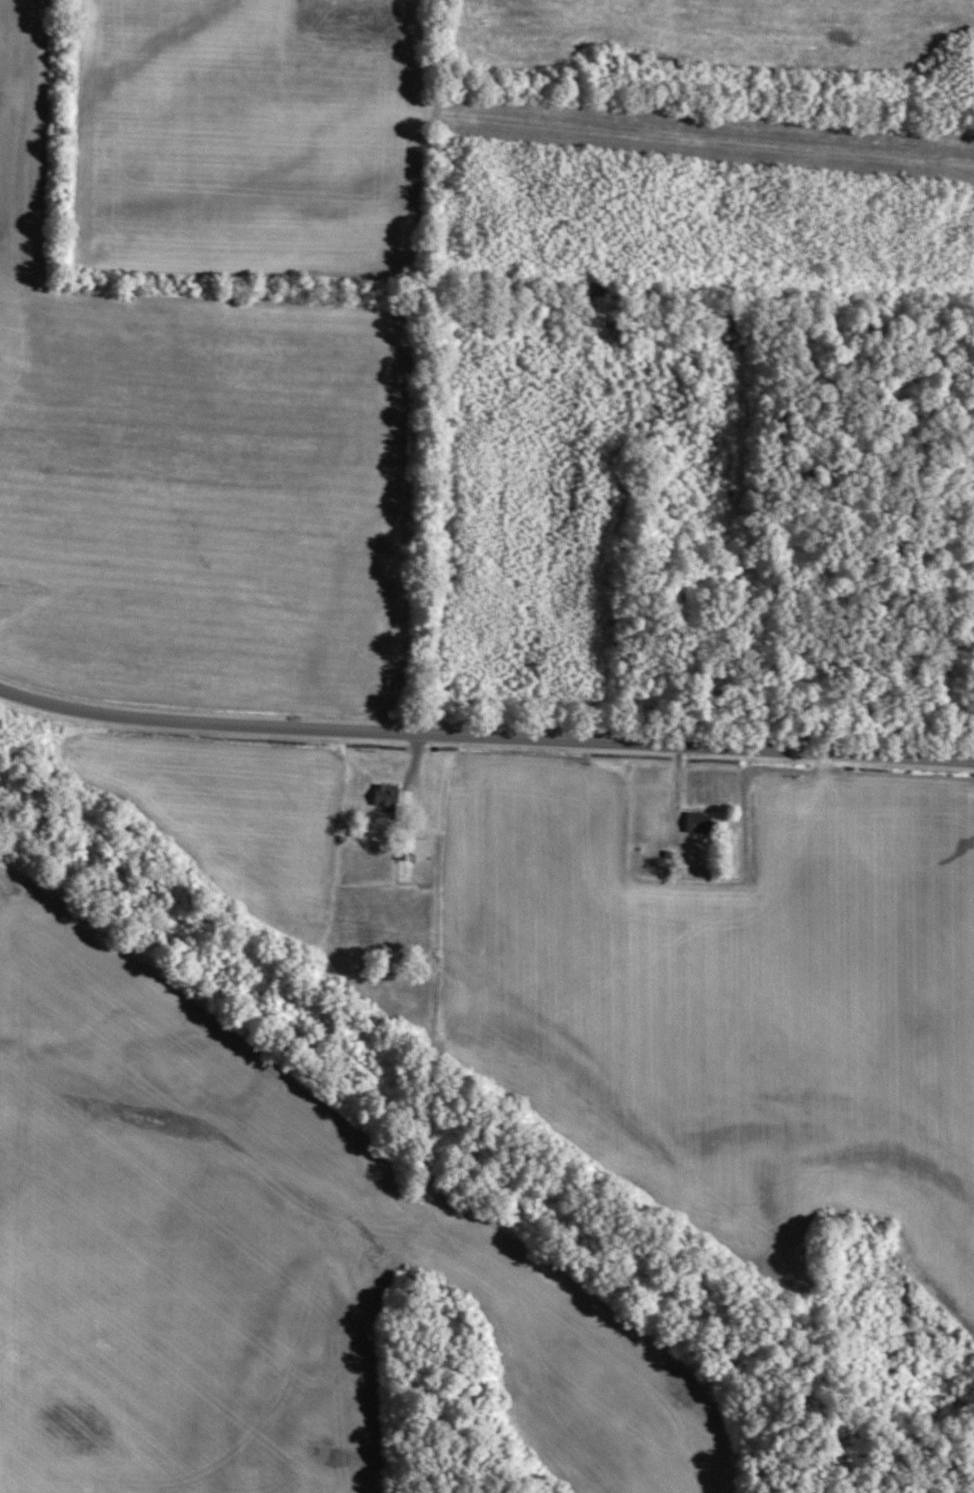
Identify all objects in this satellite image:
road: (485, 738)
building: (390, 795)
building: (692, 821)

